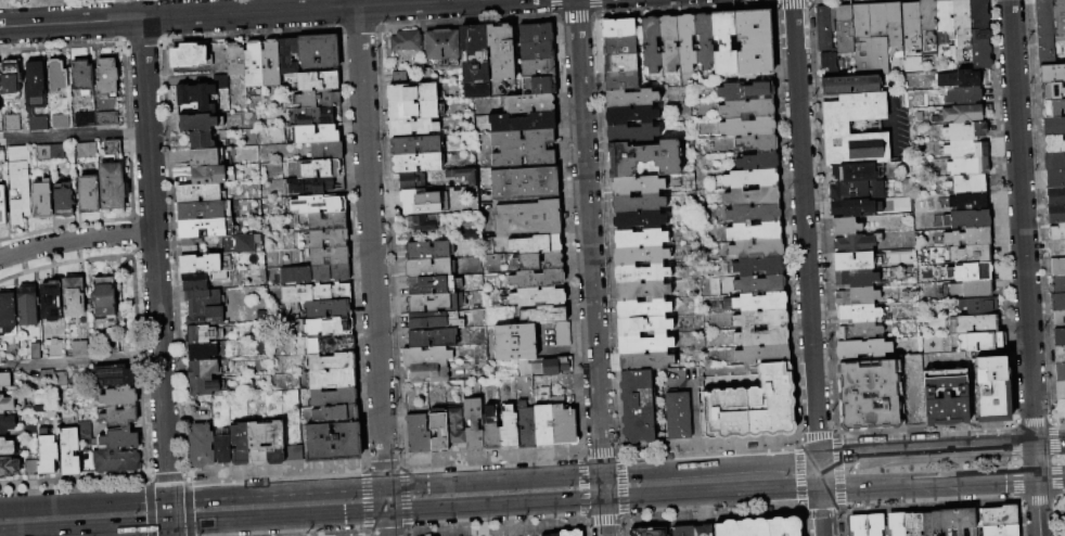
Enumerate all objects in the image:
building: (1053, 0)
park: (50, 2)
park: (50, 2)
road: (233, 13)
building: (928, 15)
building: (1060, 20)
building: (946, 22)
building: (963, 23)
building: (912, 26)
building: (619, 28)
building: (825, 28)
building: (844, 28)
building: (895, 29)
building: (537, 33)
building: (1045, 33)
building: (981, 35)
building: (871, 39)
building: (407, 41)
building: (705, 41)
building: (688, 42)
building: (756, 42)
building: (670, 43)
building: (726, 43)
building: (442, 44)
building: (652, 44)
building: (620, 47)
building: (538, 51)
building: (319, 52)
building: (502, 52)
building: (475, 54)
building: (190, 55)
building: (288, 55)
building: (236, 60)
building: (831, 63)
building: (272, 64)
building: (621, 64)
building: (254, 65)
building: (539, 68)
building: (1052, 74)
building: (57, 76)
building: (84, 77)
building: (107, 78)
building: (961, 78)
building: (11, 80)
building: (320, 81)
building: (623, 81)
building: (36, 85)
building: (539, 86)
building: (852, 86)
building: (478, 90)
building: (746, 91)
building: (1053, 91)
building: (0, 92)
building: (413, 93)
building: (965, 95)
building: (197, 97)
building: (320, 99)
building: (632, 99)
building: (531, 103)
building: (748, 109)
building: (1054, 109)
building: (414, 111)
building: (961, 114)
building: (631, 115)
building: (316, 116)
building: (107, 118)
building: (86, 120)
building: (61, 122)
building: (524, 122)
building: (13, 124)
building: (40, 124)
building: (197, 124)
building: (748, 126)
building: (837, 127)
building: (1054, 127)
building: (413, 128)
building: (966, 131)
building: (318, 133)
building: (632, 133)
road: (74, 135)
building: (203, 140)
building: (759, 142)
building: (1055, 144)
building: (416, 145)
building: (523, 149)
building: (88, 150)
building: (967, 150)
building: (329, 151)
building: (59, 152)
building: (44, 153)
building: (18, 154)
building: (2, 155)
building: (207, 157)
building: (645, 158)
building: (759, 162)
building: (1055, 162)
building: (419, 163)
building: (970, 167)
building: (318, 168)
building: (854, 173)
building: (463, 174)
building: (214, 176)
building: (114, 179)
building: (753, 179)
building: (1056, 179)
building: (413, 181)
building: (526, 184)
building: (971, 184)
building: (638, 186)
building: (317, 187)
building: (858, 191)
building: (200, 193)
building: (26, 194)
building: (90, 194)
building: (754, 196)
road: (803, 196)
building: (1056, 197)
building: (43, 200)
building: (65, 201)
building: (423, 202)
building: (970, 202)
building: (639, 203)
building: (319, 204)
building: (3, 207)
building: (849, 208)
building: (206, 210)
building: (755, 215)
building: (1057, 215)
building: (529, 218)
building: (968, 219)
building: (329, 220)
building: (640, 220)
building: (424, 222)
road: (1022, 222)
building: (847, 227)
building: (207, 228)
building: (756, 232)
building: (1057, 233)
road: (588, 235)
building: (971, 238)
road: (75, 239)
building: (330, 239)
building: (641, 239)
building: (189, 242)
building: (858, 243)
building: (537, 244)
building: (758, 250)
building: (1057, 250)
building: (190, 251)
building: (428, 251)
building: (978, 255)
building: (330, 256)
building: (641, 256)
building: (857, 261)
building: (539, 263)
building: (202, 264)
building: (760, 267)
building: (1057, 267)
building: (429, 268)
road: (372, 271)
building: (975, 272)
building: (316, 273)
building: (642, 275)
road: (155, 277)
building: (538, 279)
building: (858, 279)
building: (195, 282)
building: (760, 284)
building: (1058, 284)
building: (432, 285)
building: (973, 290)
building: (643, 291)
building: (317, 293)
building: (204, 294)
building: (539, 296)
building: (75, 297)
building: (858, 297)
building: (106, 298)
building: (53, 301)
building: (761, 302)
building: (435, 303)
building: (1058, 303)
building: (980, 306)
building: (29, 307)
building: (330, 309)
building: (643, 309)
building: (206, 312)
building: (860, 314)
building: (544, 315)
building: (8, 316)
building: (762, 319)
building: (436, 320)
building: (1060, 320)
building: (975, 324)
building: (644, 326)
building: (339, 327)
building: (313, 328)
building: (861, 332)
building: (204, 334)
building: (564, 334)
building: (764, 337)
building: (1060, 337)
building: (433, 339)
building: (56, 342)
building: (516, 342)
building: (979, 342)
building: (332, 344)
building: (646, 344)
building: (115, 345)
building: (81, 349)
building: (864, 349)
building: (37, 350)
building: (202, 352)
building: (765, 354)
building: (1060, 355)
building: (429, 356)
road: (79, 360)
building: (333, 361)
building: (646, 361)
building: (551, 367)
building: (204, 369)
building: (1061, 372)
building: (48, 374)
building: (427, 374)
building: (116, 375)
building: (334, 379)
building: (62, 380)
building: (947, 380)
building: (4, 381)
building: (526, 384)
road: (681, 384)
building: (204, 387)
building: (992, 390)
building: (1061, 391)
building: (546, 393)
building: (334, 396)
building: (870, 396)
building: (119, 397)
building: (7, 405)
building: (639, 407)
building: (753, 407)
road: (816, 409)
building: (1061, 409)
building: (948, 410)
building: (337, 414)
building: (679, 416)
building: (120, 417)
building: (7, 424)
building: (475, 424)
road: (696, 424)
building: (527, 425)
building: (565, 425)
building: (546, 426)
building: (457, 427)
building: (511, 430)
building: (86, 431)
building: (440, 431)
building: (491, 431)
building: (419, 434)
building: (120, 441)
building: (334, 443)
road: (817, 443)
building: (241, 444)
building: (258, 444)
building: (275, 444)
road: (1050, 444)
traffic signals: (1035, 445)
building: (203, 446)
road: (1004, 446)
building: (7, 447)
building: (223, 449)
building: (70, 451)
road: (924, 451)
building: (48, 452)
building: (294, 454)
road: (846, 457)
traffic signals: (818, 459)
building: (117, 461)
road: (1036, 461)
road: (709, 464)
building: (10, 468)
building: (33, 468)
traffic signals: (602, 472)
road: (819, 473)
road: (1050, 476)
traffic signals: (1037, 477)
road: (988, 480)
road: (881, 485)
traffic signals: (820, 487)
road: (300, 489)
traffic signals: (169, 497)
traffic signals: (603, 500)
road: (603, 503)
road: (1038, 507)
road: (410, 510)
road: (821, 511)
building: (1000, 515)
building: (958, 520)
building: (932, 523)
building: (874, 524)
building: (897, 524)
building: (914, 524)
traffic signals: (170, 525)
building: (858, 525)
building: (786, 526)
building: (745, 527)
building: (684, 531)
building: (704, 531)
building: (1000, 531)
building: (650, 532)
building: (572, 533)
building: (551, 535)

